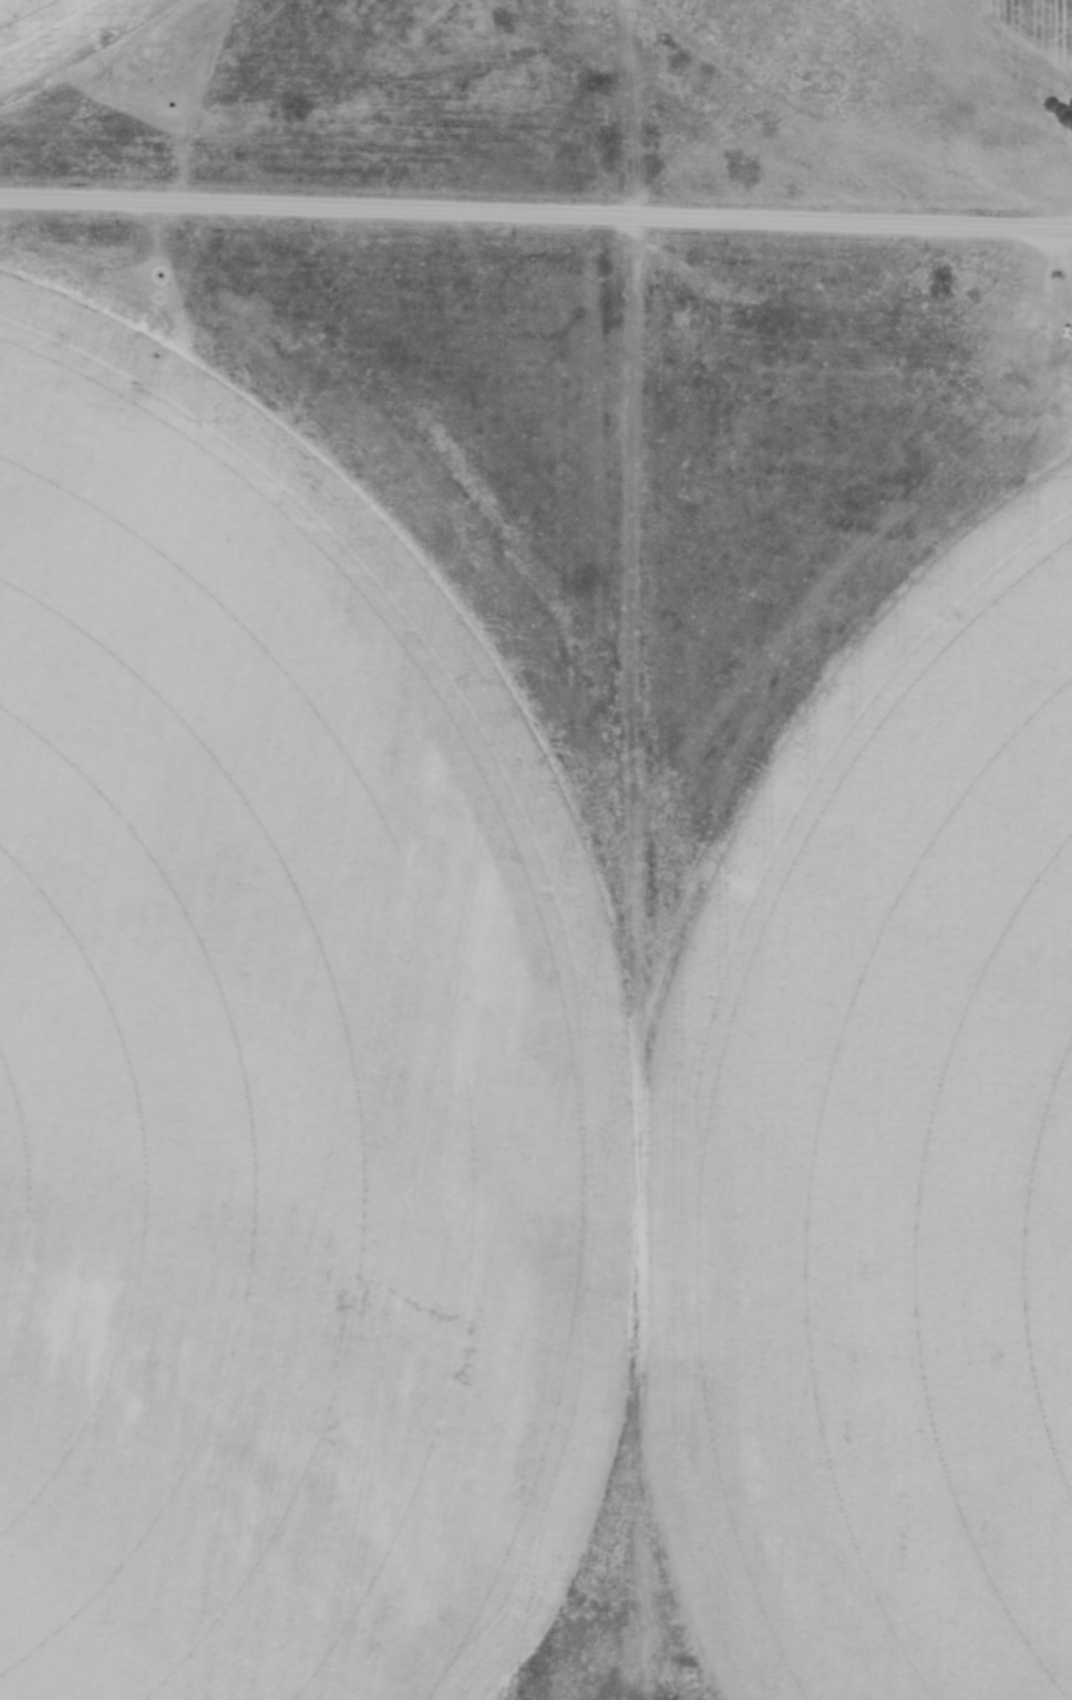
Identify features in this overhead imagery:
crop: (1032, 25)
crop: (59, 32)
road: (535, 218)
crop: (526, 961)

